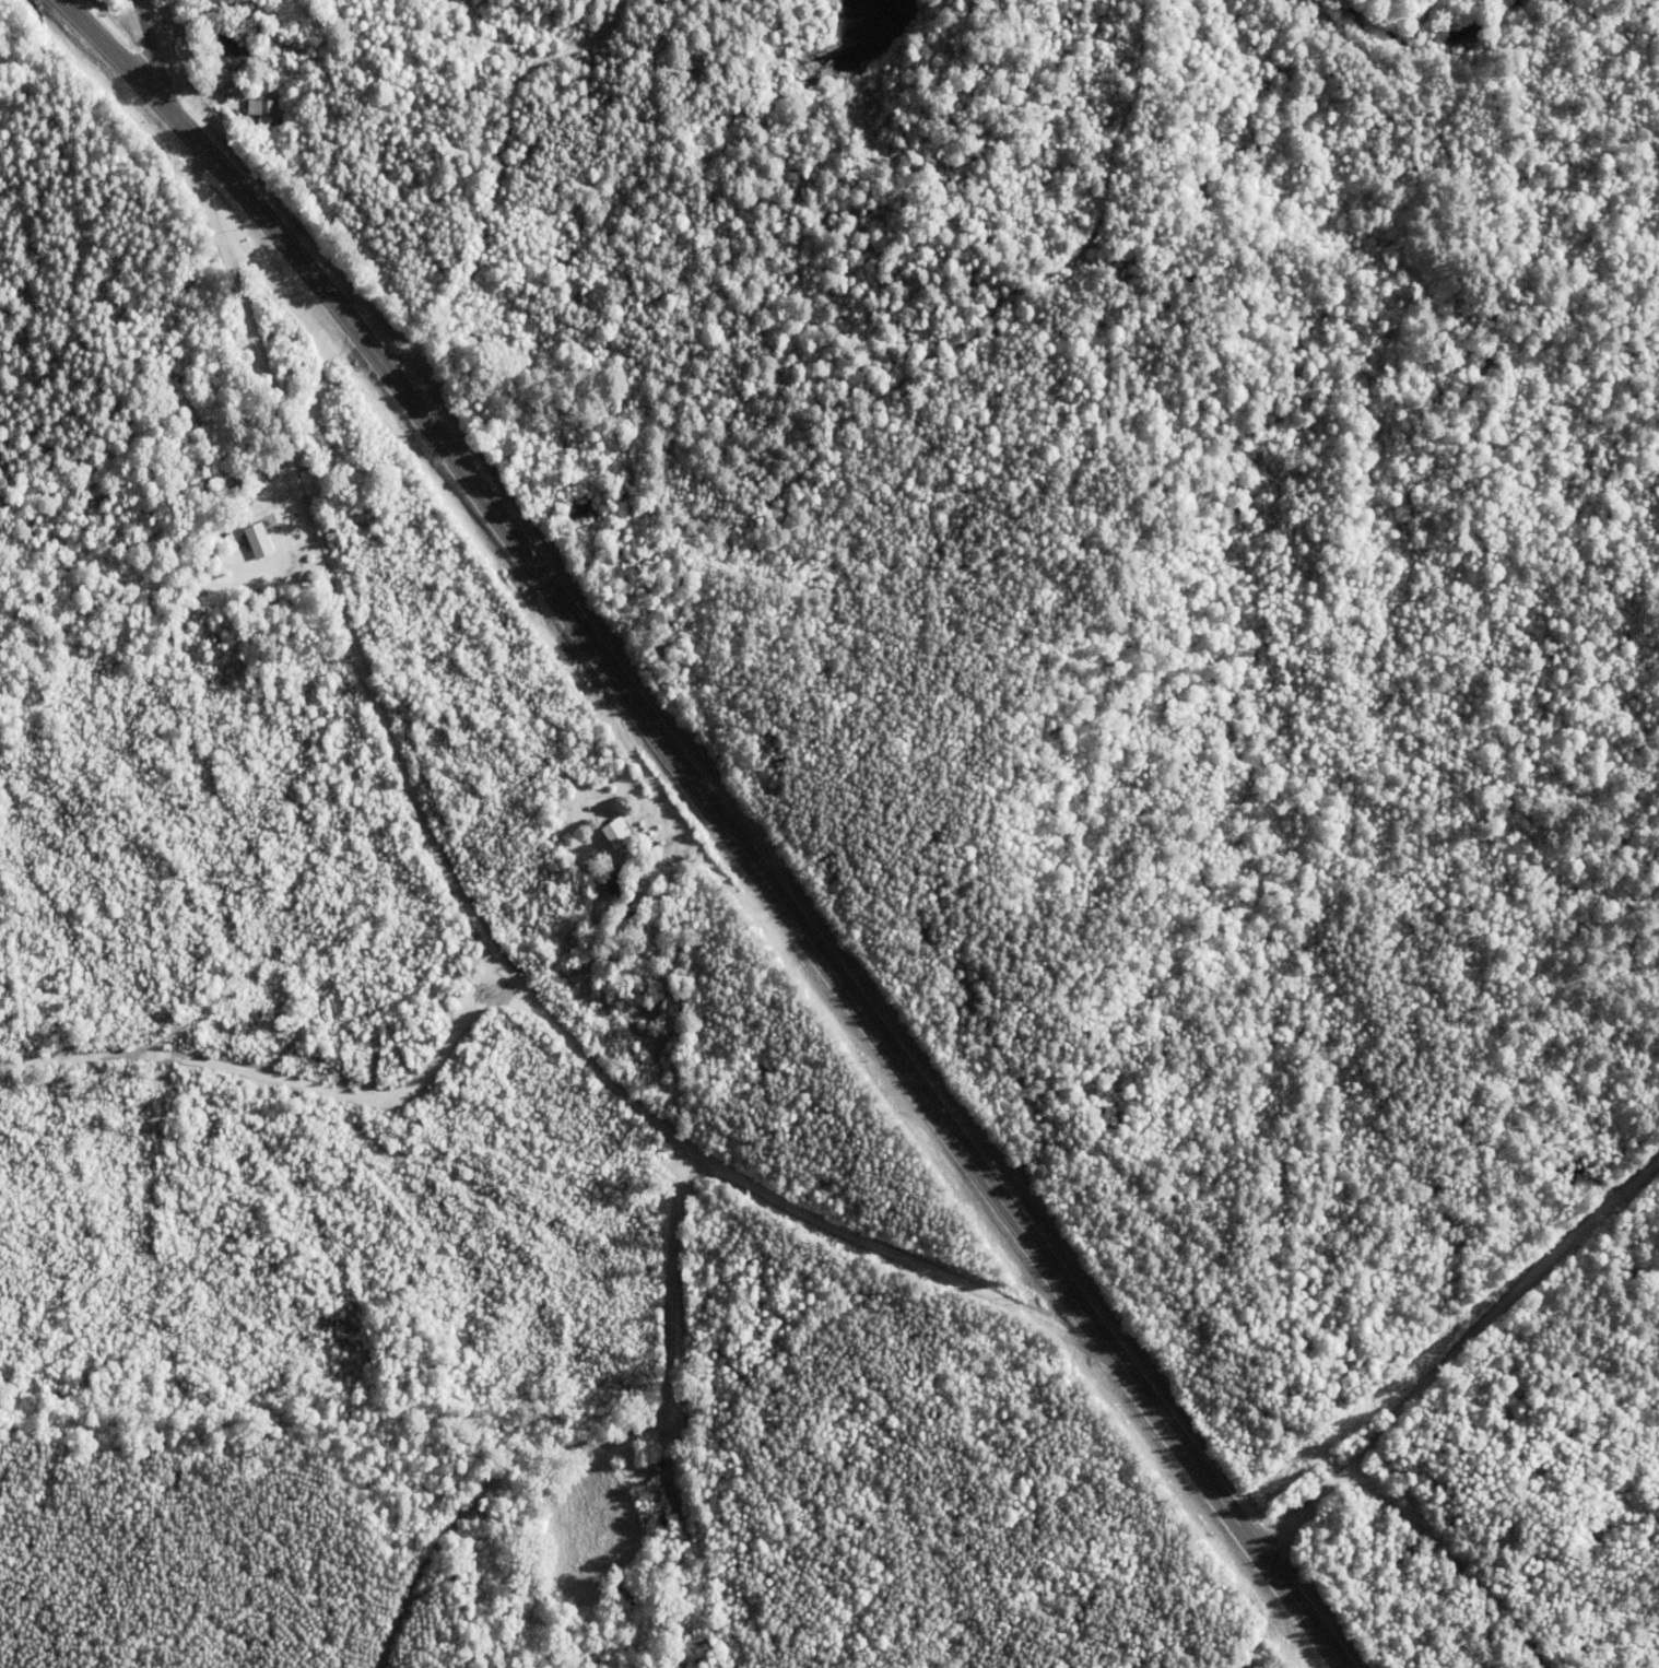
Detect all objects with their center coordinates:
road: (717, 819)
road: (428, 833)
road: (286, 1080)
road: (1454, 1347)

